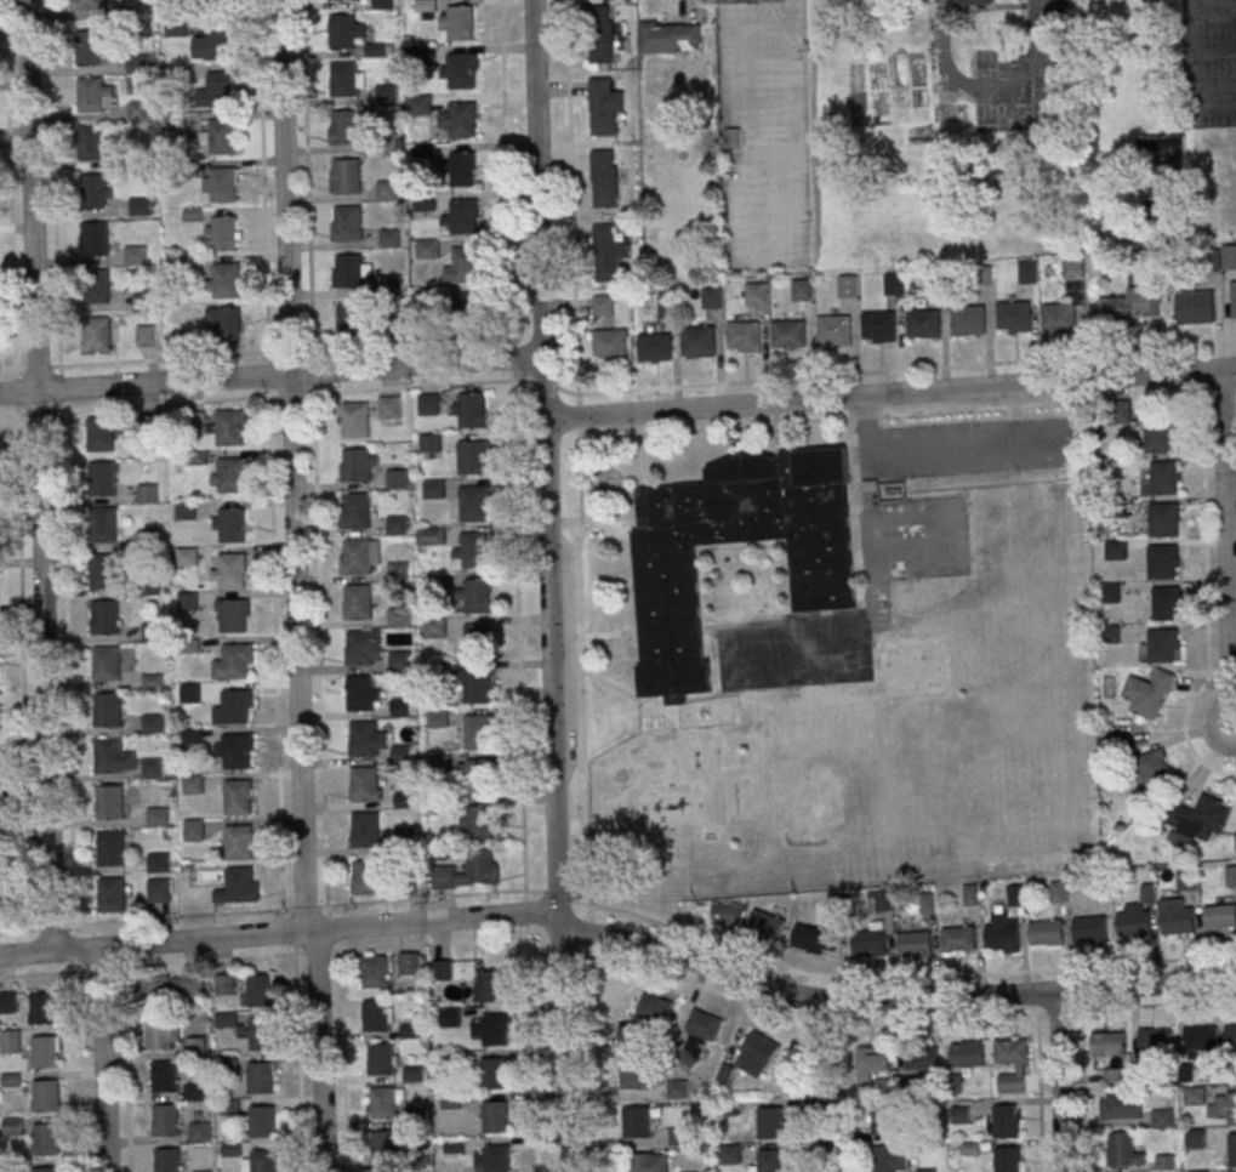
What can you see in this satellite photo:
building: (342, 0)
road: (699, 0)
building: (739, 0)
building: (218, 2)
building: (975, 2)
road: (1189, 2)
building: (90, 5)
building: (382, 5)
building: (426, 6)
building: (123, 18)
building: (458, 22)
building: (177, 28)
building: (343, 34)
building: (602, 35)
building: (670, 36)
building: (220, 44)
building: (90, 51)
building: (421, 58)
building: (138, 66)
building: (462, 73)
parking lot: (762, 78)
building: (177, 79)
building: (344, 81)
building: (217, 92)
building: (387, 96)
building: (91, 97)
road: (1003, 97)
building: (422, 107)
building: (606, 107)
building: (138, 113)
building: (461, 121)
building: (176, 123)
building: (347, 130)
building: (731, 137)
building: (222, 138)
building: (387, 143)
building: (93, 144)
building: (1161, 150)
road: (779, 152)
building: (460, 169)
building: (348, 178)
building: (606, 180)
building: (224, 187)
building: (387, 192)
building: (93, 194)
building: (426, 204)
building: (139, 209)
building: (462, 218)
building: (348, 224)
road: (573, 233)
building: (226, 235)
building: (391, 240)
building: (96, 241)
building: (428, 251)
building: (606, 255)
building: (1228, 256)
building: (136, 257)
building: (463, 266)
building: (182, 267)
building: (1072, 271)
building: (349, 273)
building: (1027, 274)
building: (982, 277)
building: (227, 281)
building: (894, 285)
building: (392, 286)
building: (848, 288)
building: (96, 289)
building: (802, 291)
building: (756, 296)
building: (1232, 298)
building: (712, 300)
building: (462, 303)
building: (142, 305)
building: (603, 306)
building: (1196, 307)
building: (668, 309)
building: (1116, 312)
building: (1014, 318)
building: (1058, 319)
building: (352, 322)
building: (968, 322)
building: (394, 325)
building: (924, 326)
building: (227, 328)
building: (878, 329)
building: (833, 331)
building: (788, 336)
building: (97, 337)
building: (742, 337)
building: (146, 338)
road: (423, 342)
building: (182, 343)
building: (699, 343)
building: (609, 346)
building: (655, 349)
road: (270, 374)
road: (890, 393)
road: (255, 398)
building: (427, 404)
building: (389, 408)
building: (469, 410)
road: (577, 417)
building: (355, 423)
building: (229, 431)
building: (1160, 436)
building: (101, 437)
building: (472, 456)
building: (358, 468)
road: (36, 476)
building: (1164, 477)
building: (232, 478)
building: (397, 478)
building: (102, 482)
building: (433, 489)
building: (147, 493)
building: (473, 503)
building: (357, 513)
building: (1163, 519)
building: (395, 525)
building: (103, 528)
building: (233, 529)
road: (1228, 529)
building: (429, 535)
building: (1116, 550)
building: (472, 551)
building: (358, 559)
road: (273, 561)
building: (1163, 562)
building: (104, 574)
building: (232, 574)
building: (666, 578)
road: (294, 586)
road: (318, 586)
road: (548, 586)
building: (473, 596)
building: (1166, 603)
building: (359, 605)
building: (398, 616)
building: (234, 619)
building: (106, 620)
building: (431, 627)
building: (152, 631)
building: (477, 639)
building: (1163, 645)
building: (360, 652)
building: (399, 660)
building: (237, 664)
building: (107, 666)
building: (477, 685)
road: (1235, 690)
building: (189, 693)
building: (1149, 694)
building: (360, 696)
building: (399, 707)
building: (234, 709)
building: (108, 712)
building: (437, 717)
road: (1208, 722)
building: (153, 723)
building: (477, 732)
building: (364, 741)
building: (401, 753)
building: (237, 755)
building: (109, 758)
building: (1154, 767)
building: (152, 768)
building: (475, 776)
building: (192, 784)
building: (365, 786)
building: (239, 801)
building: (110, 804)
building: (156, 815)
building: (1200, 821)
building: (477, 823)
building: (193, 830)
building: (366, 832)
building: (1235, 836)
building: (239, 846)
building: (112, 852)
building: (158, 863)
building: (469, 871)
building: (1231, 876)
building: (1186, 880)
building: (368, 882)
building: (158, 889)
building: (239, 891)
building: (970, 894)
building: (112, 899)
road: (524, 900)
building: (882, 900)
building: (927, 903)
building: (0, 910)
building: (727, 914)
building: (1220, 917)
building: (1177, 921)
building: (1133, 923)
building: (765, 924)
building: (1089, 928)
road: (47, 931)
road: (15, 933)
building: (1046, 933)
building: (1002, 937)
building: (815, 939)
building: (957, 939)
road: (620, 940)
building: (867, 941)
building: (913, 944)
road: (605, 960)
building: (409, 963)
road: (147, 967)
road: (1072, 968)
building: (375, 972)
building: (223, 984)
building: (489, 986)
building: (173, 988)
building: (258, 990)
building: (7, 1002)
building: (41, 1008)
building: (655, 1009)
road: (1070, 1012)
building: (375, 1014)
building: (449, 1018)
building: (491, 1030)
building: (158, 1034)
building: (261, 1035)
building: (697, 1036)
building: (1230, 1036)
building: (1202, 1037)
road: (596, 1039)
building: (1156, 1040)
building: (10, 1042)
building: (1107, 1045)
road: (79, 1049)
building: (42, 1052)
building: (1010, 1052)
building: (757, 1054)
building: (967, 1054)
building: (921, 1057)
building: (380, 1058)
building: (872, 1058)
road: (101, 1059)
road: (297, 1063)
building: (449, 1063)
road: (124, 1070)
building: (492, 1073)
building: (639, 1073)
building: (412, 1074)
building: (164, 1076)
building: (258, 1079)
road: (1058, 1081)
road: (826, 1086)
building: (883, 1088)
building: (677, 1091)
building: (194, 1092)
road: (1082, 1092)
road: (1038, 1093)
building: (44, 1096)
road: (803, 1096)
building: (1194, 1096)
road: (848, 1098)
building: (382, 1103)
building: (1120, 1105)
building: (229, 1108)
building: (1231, 1108)
building: (959, 1114)
building: (416, 1116)
building: (495, 1116)
building: (1162, 1117)
building: (164, 1120)
building: (883, 1120)
building: (261, 1121)
building: (1004, 1121)
building: (769, 1122)
building: (637, 1123)
building: (12, 1126)
building: (199, 1132)
building: (685, 1137)
building: (1196, 1138)
building: (45, 1140)
building: (383, 1145)
building: (1120, 1149)
building: (1232, 1149)
building: (729, 1155)
building: (492, 1157)
building: (890, 1159)
building: (1004, 1159)
building: (166, 1160)
building: (262, 1161)
building: (769, 1161)
building: (640, 1162)
building: (1164, 1162)
building: (45, 1170)

